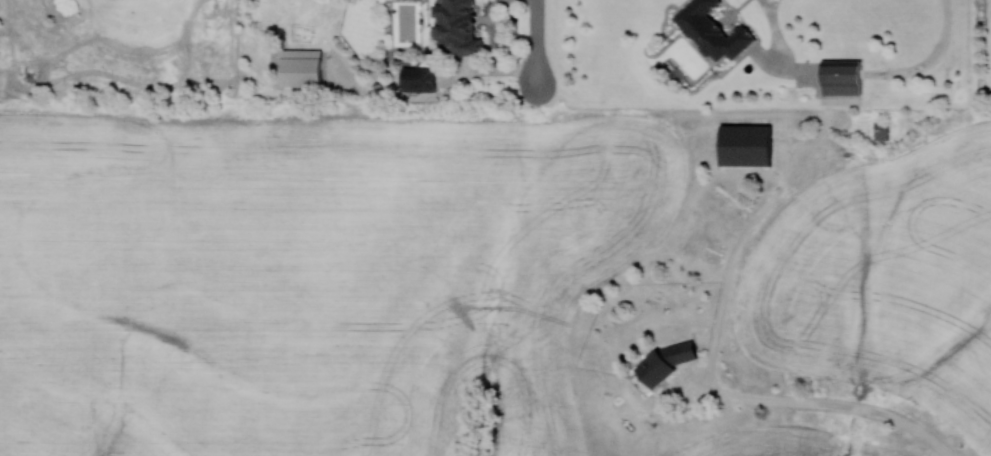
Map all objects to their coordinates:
building: (458, 27)
building: (713, 30)
road: (776, 32)
road: (537, 43)
road: (933, 57)
building: (302, 67)
building: (841, 76)
building: (419, 79)
building: (746, 145)
crop: (309, 278)
crop: (885, 280)
building: (665, 361)
road: (827, 404)
crop: (479, 421)
crop: (479, 421)
crop: (764, 442)
crop: (871, 449)

